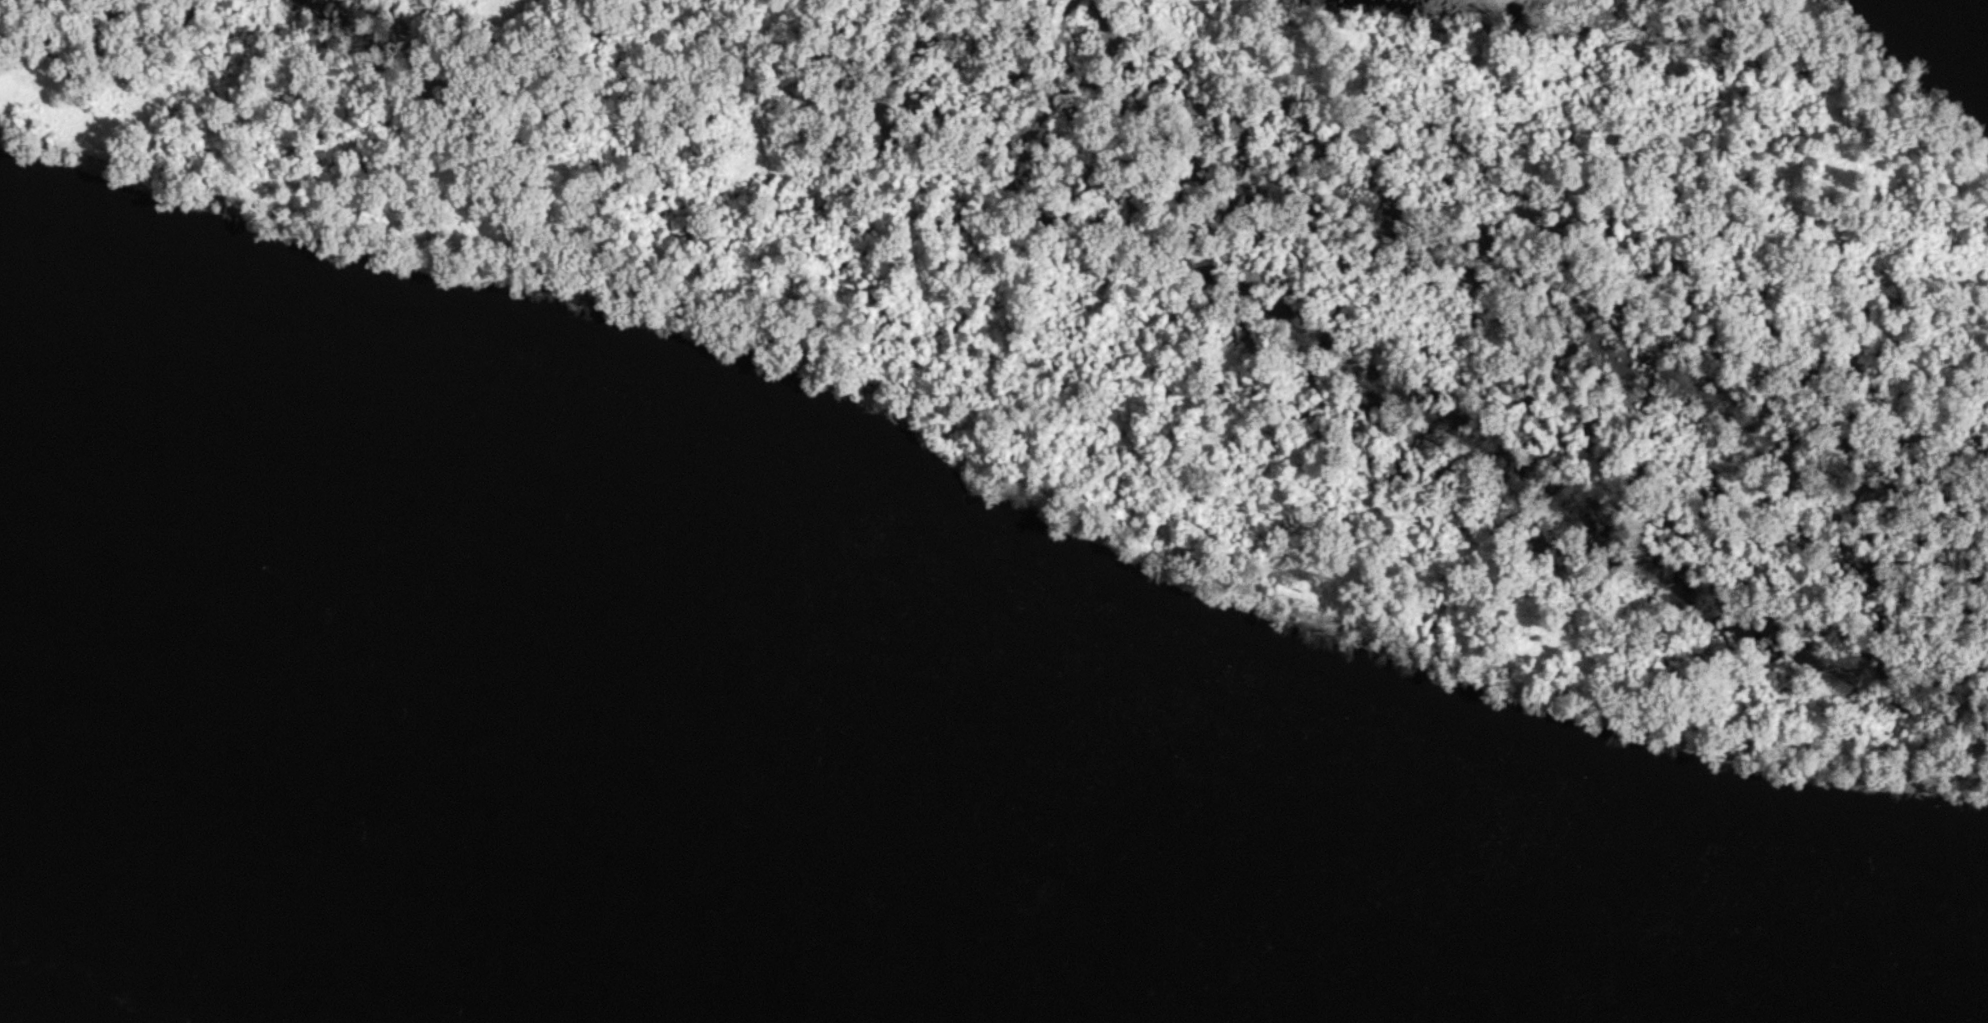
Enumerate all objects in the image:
river: (646, 792)

